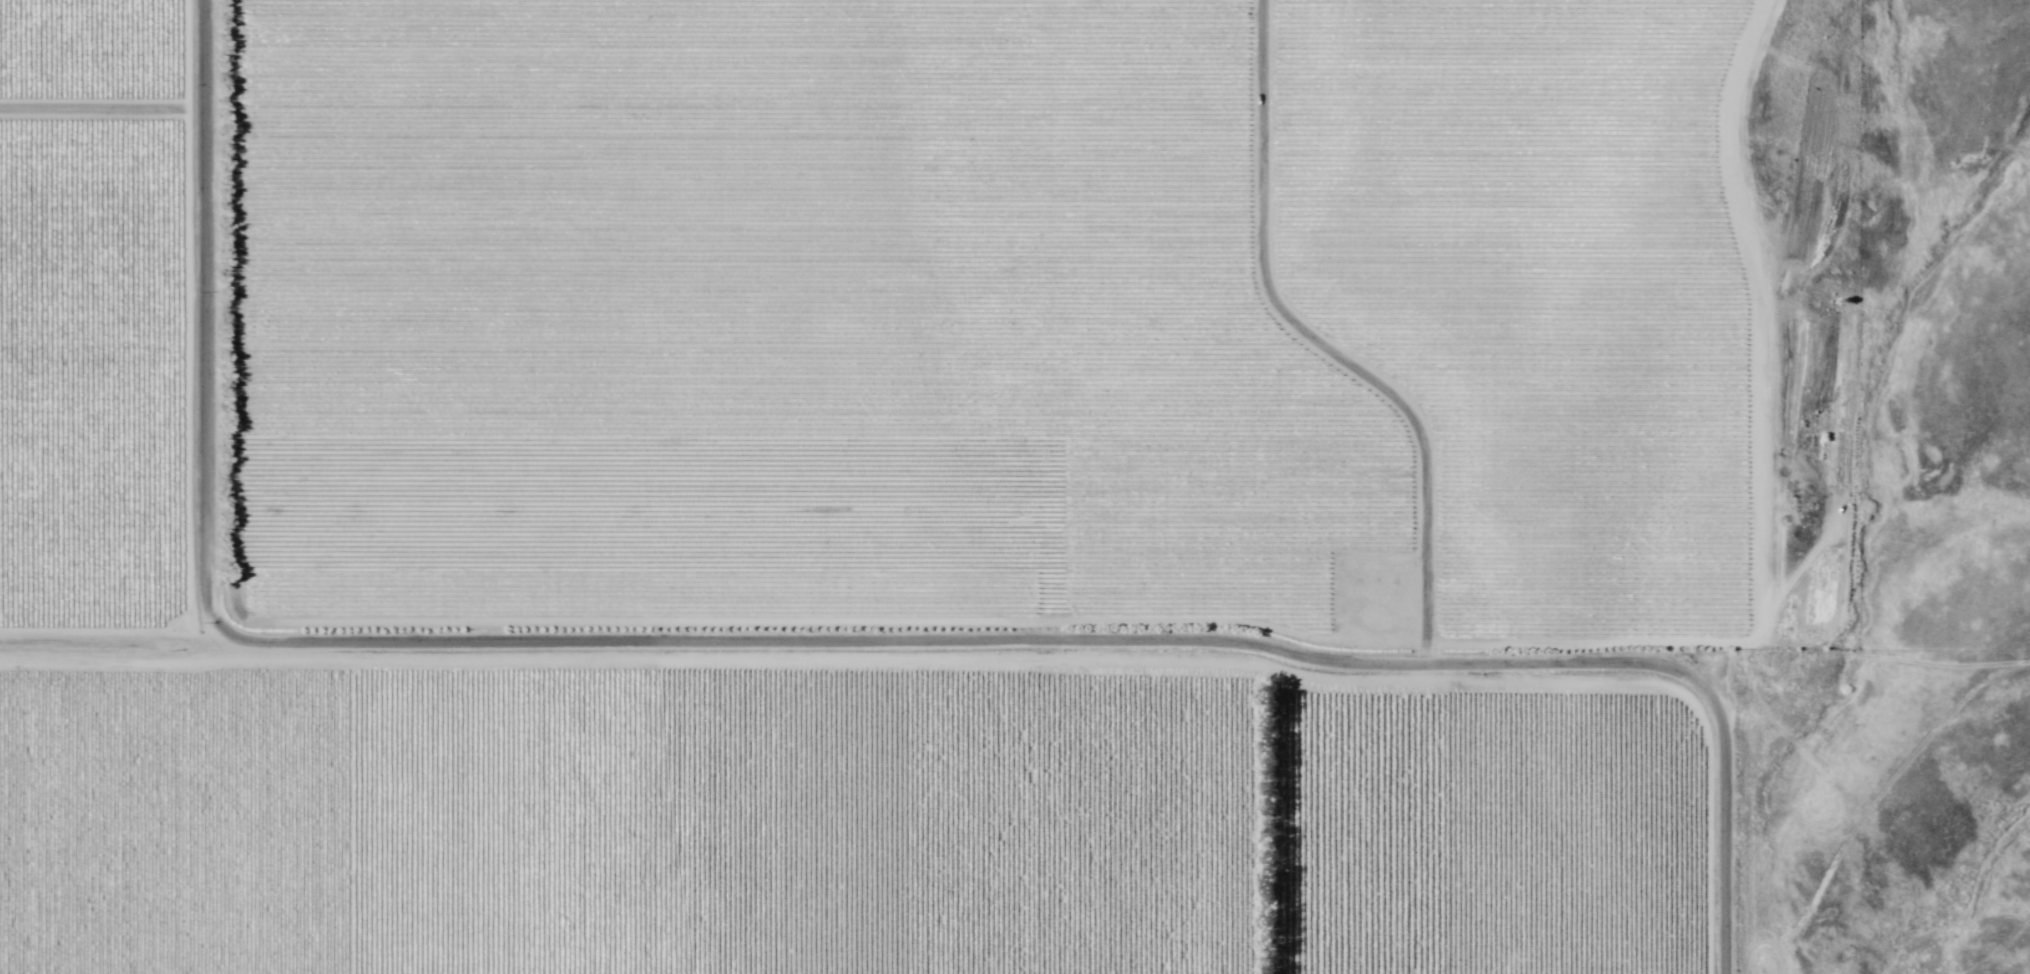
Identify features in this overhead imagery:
road: (210, 324)
road: (1076, 328)
crop: (867, 482)
road: (1733, 633)
road: (104, 642)
road: (1101, 654)

